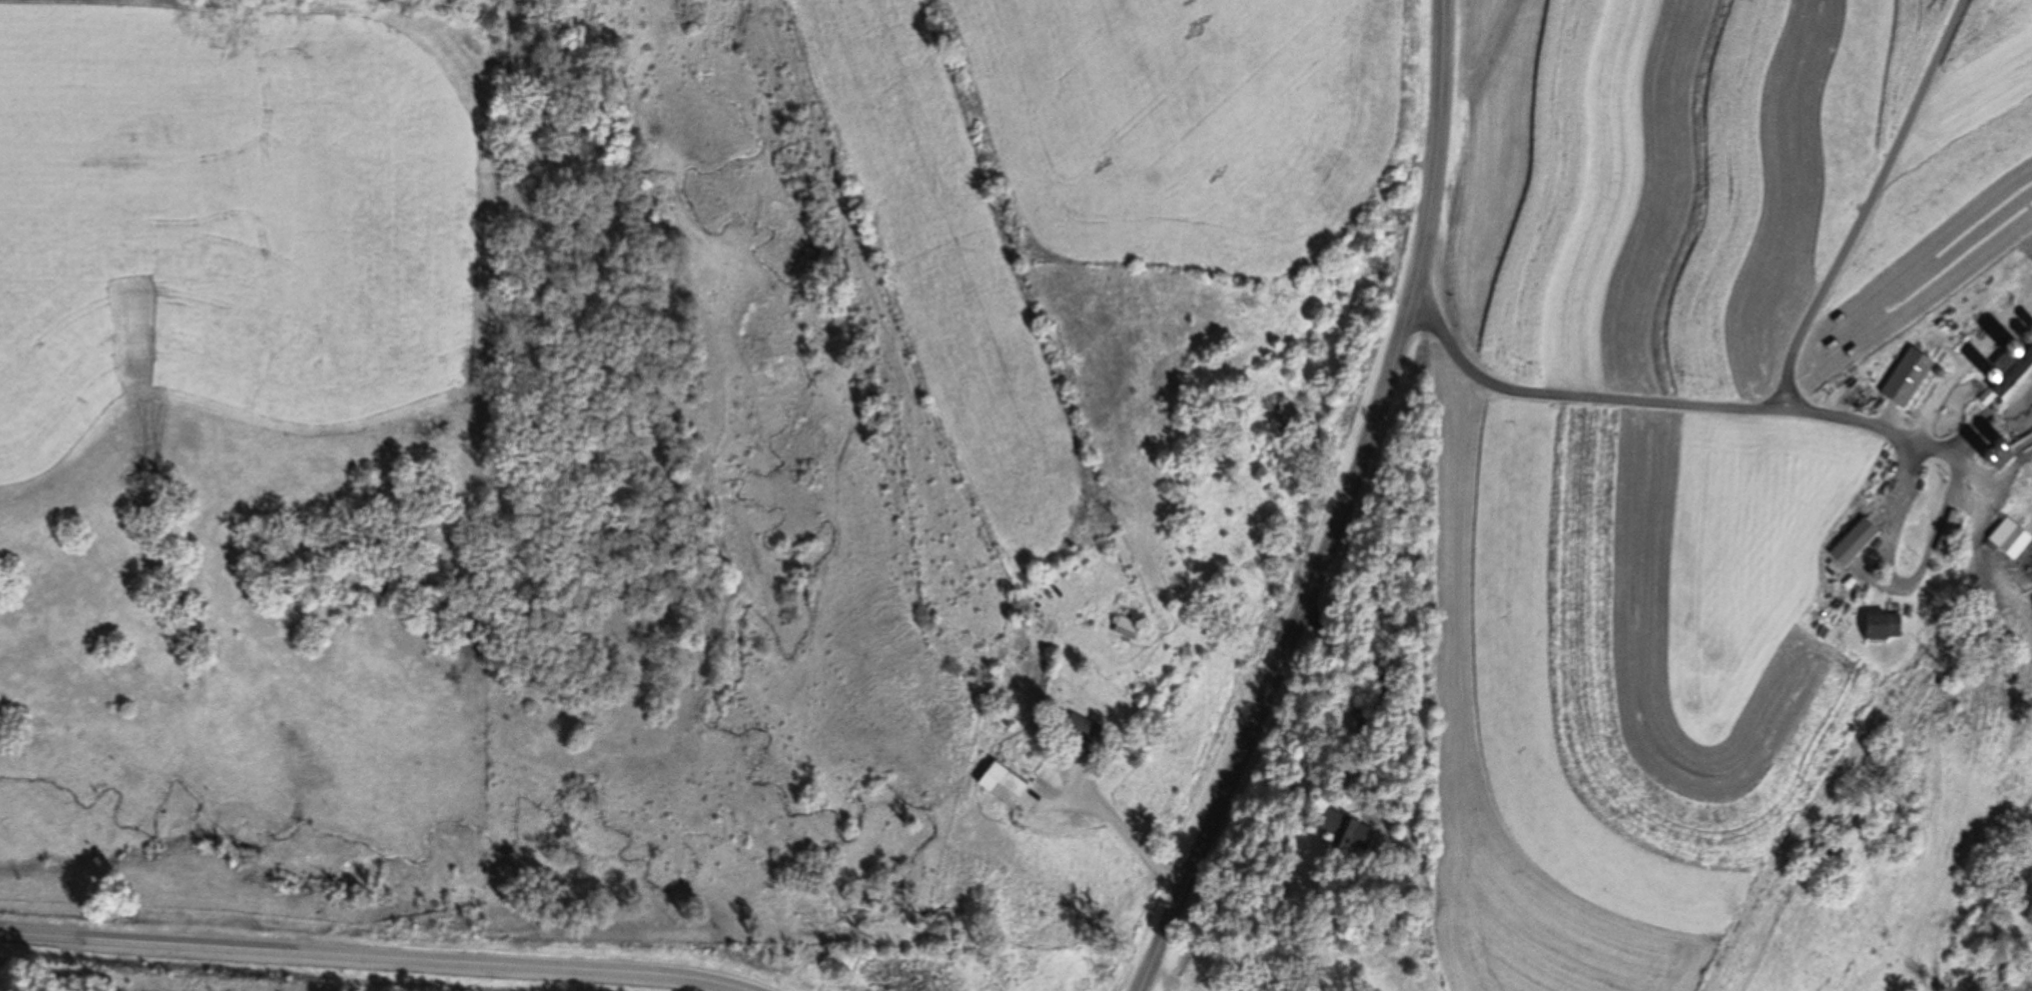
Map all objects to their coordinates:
road: (1868, 203)
building: (2009, 371)
building: (1905, 377)
road: (1697, 413)
building: (1999, 456)
road: (1345, 510)
building: (1947, 531)
building: (2007, 537)
building: (1853, 542)
building: (1880, 626)
building: (1125, 627)
building: (1379, 629)
road: (1382, 692)
road: (1357, 704)
building: (1083, 728)
building: (1000, 784)
building: (1344, 827)
road: (1134, 842)
road: (335, 954)
road: (712, 981)

